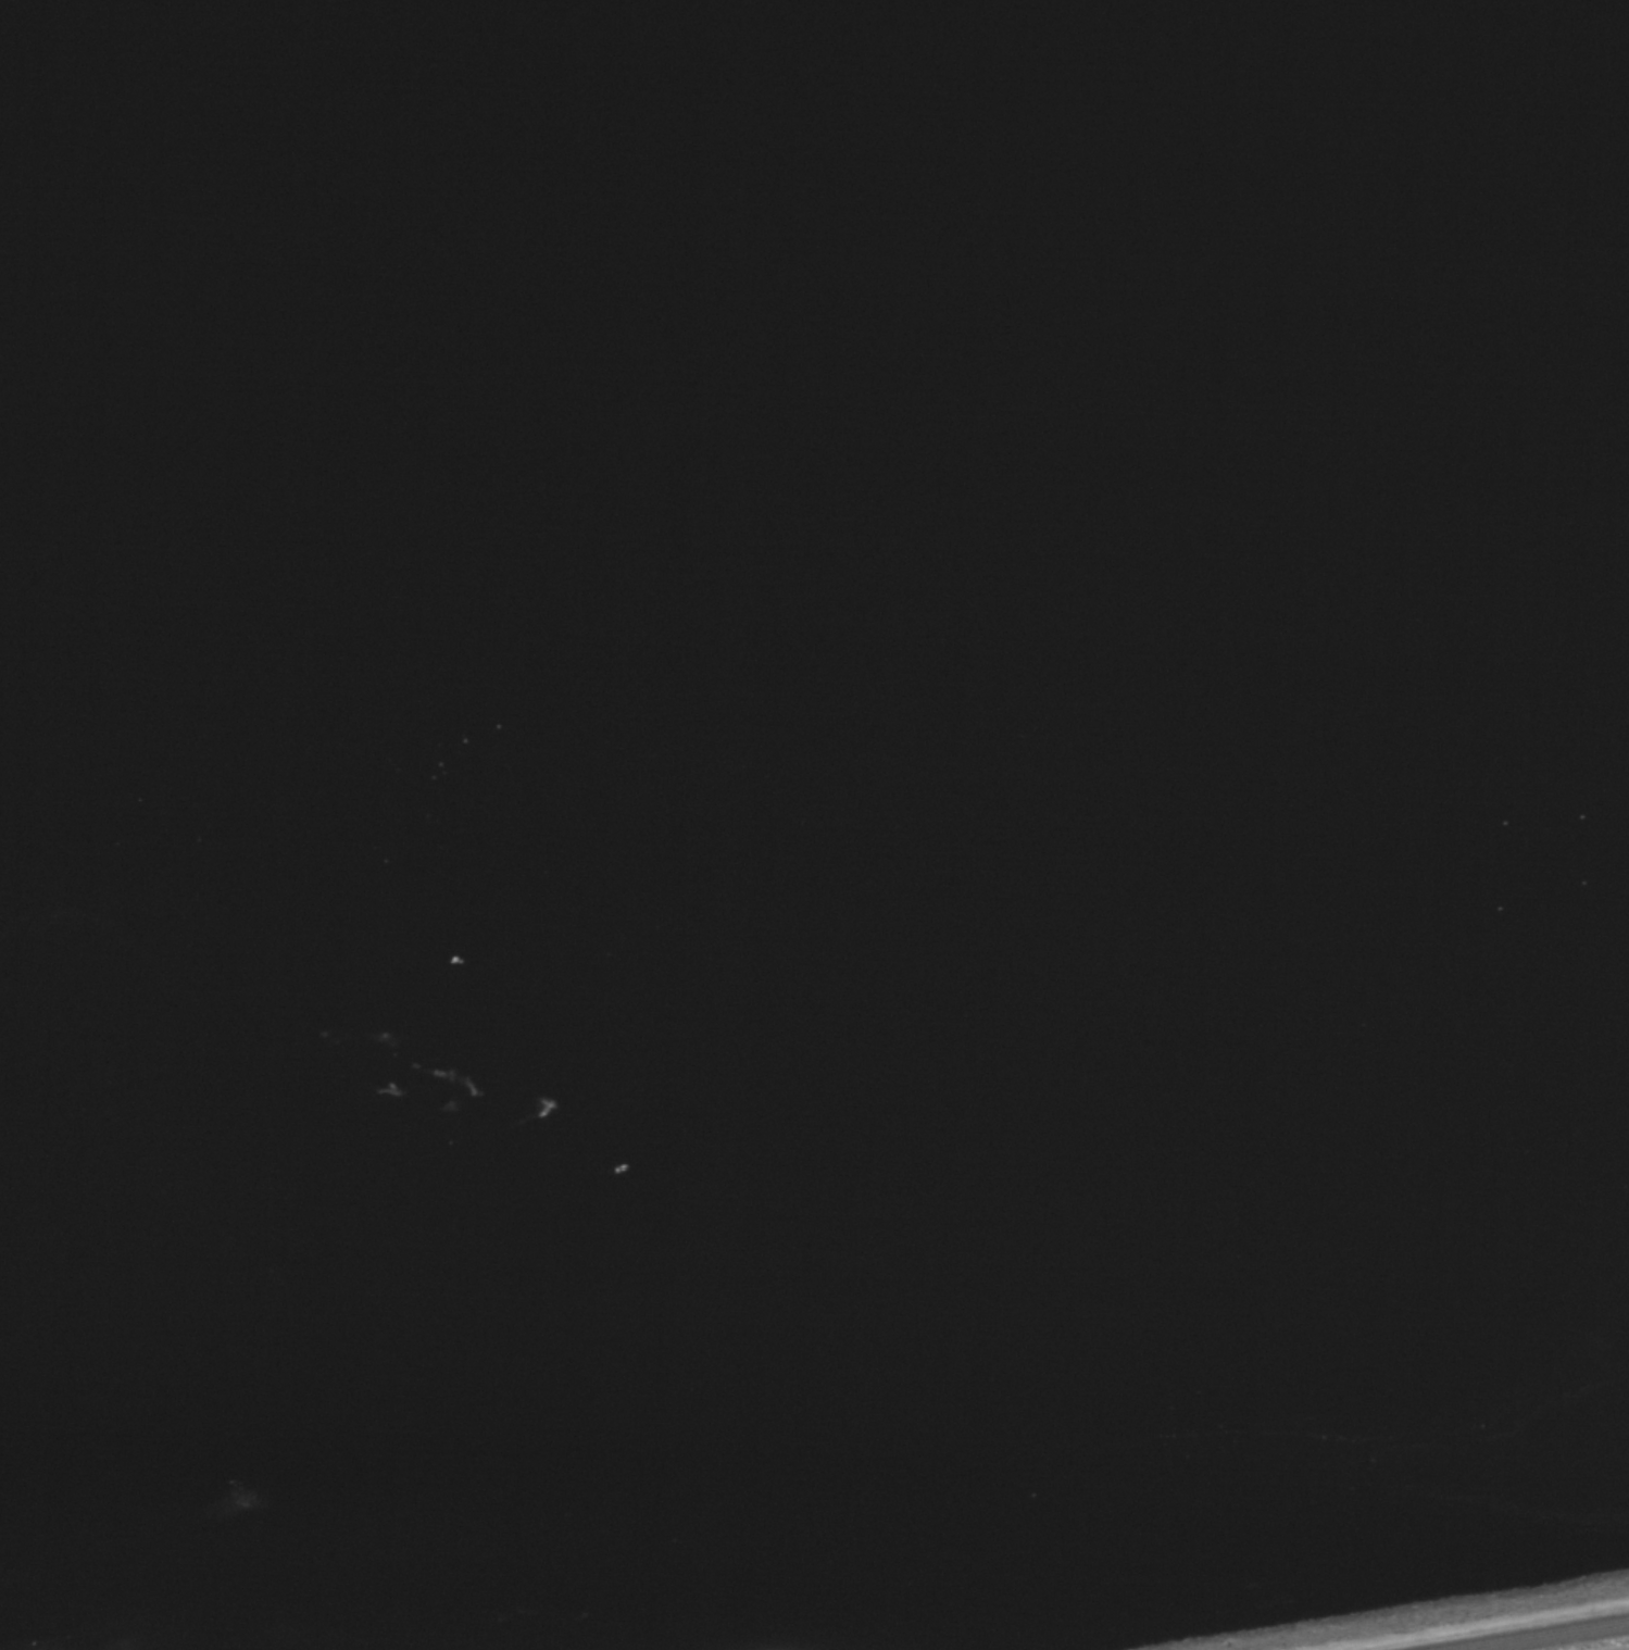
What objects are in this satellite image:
railway: (1549, 1637)

